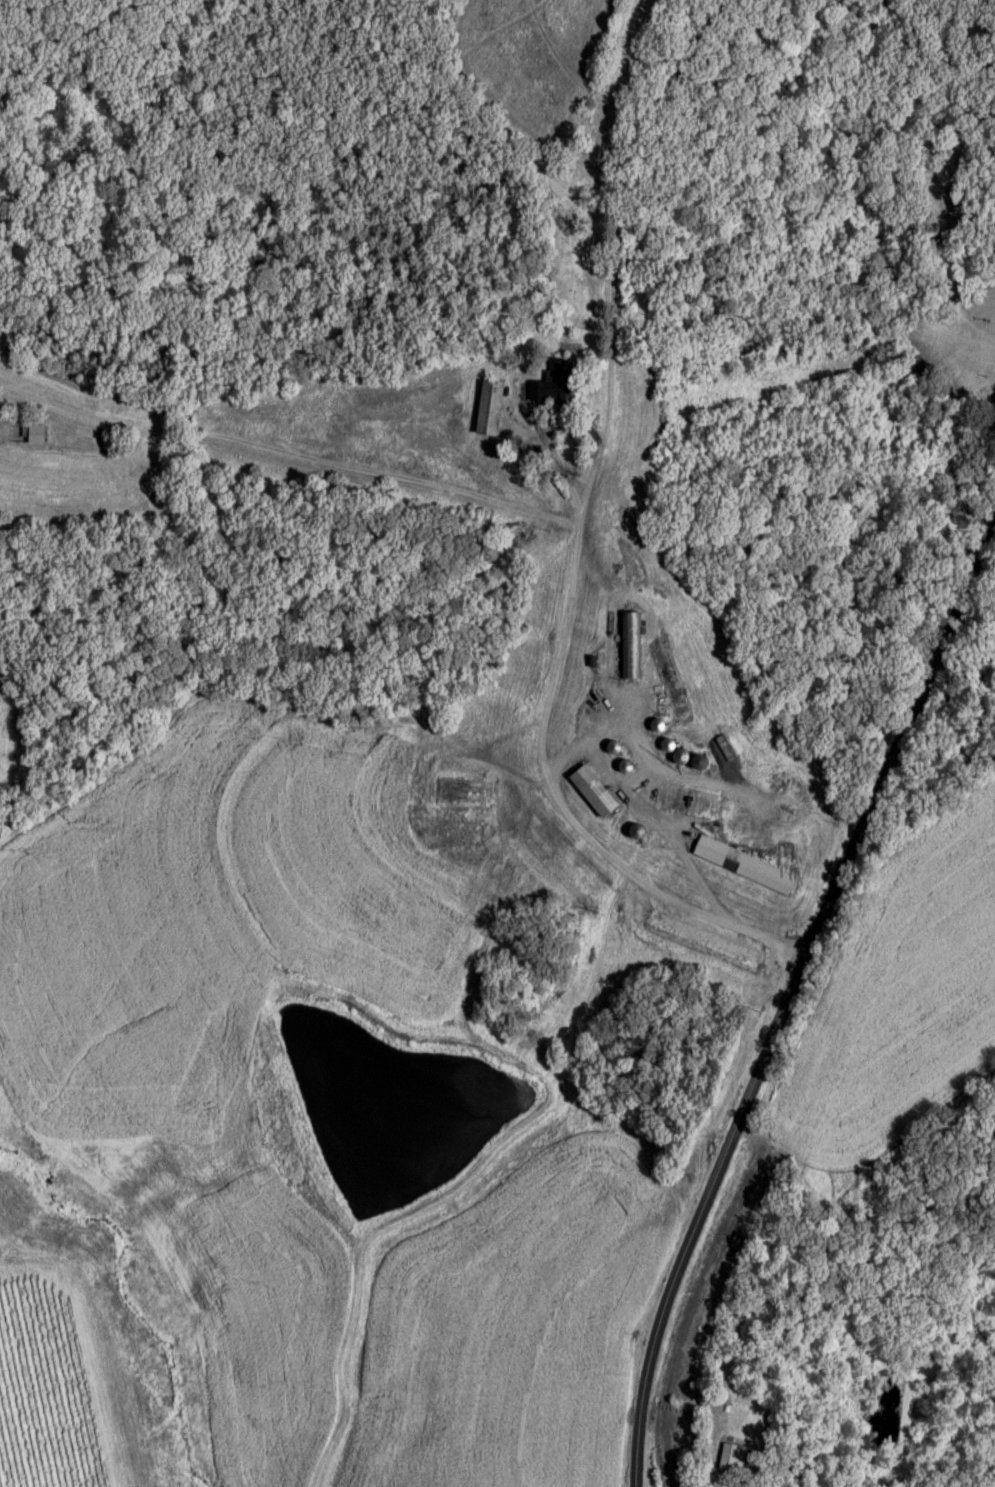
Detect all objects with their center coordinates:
building: (557, 385)
building: (492, 410)
building: (0, 414)
road: (289, 452)
road: (576, 525)
building: (631, 647)
building: (671, 684)
building: (660, 727)
building: (694, 761)
building: (465, 794)
building: (596, 794)
building: (681, 802)
building: (460, 833)
building: (639, 834)
building: (748, 867)
building: (707, 944)
road: (776, 1034)
building: (733, 1460)

